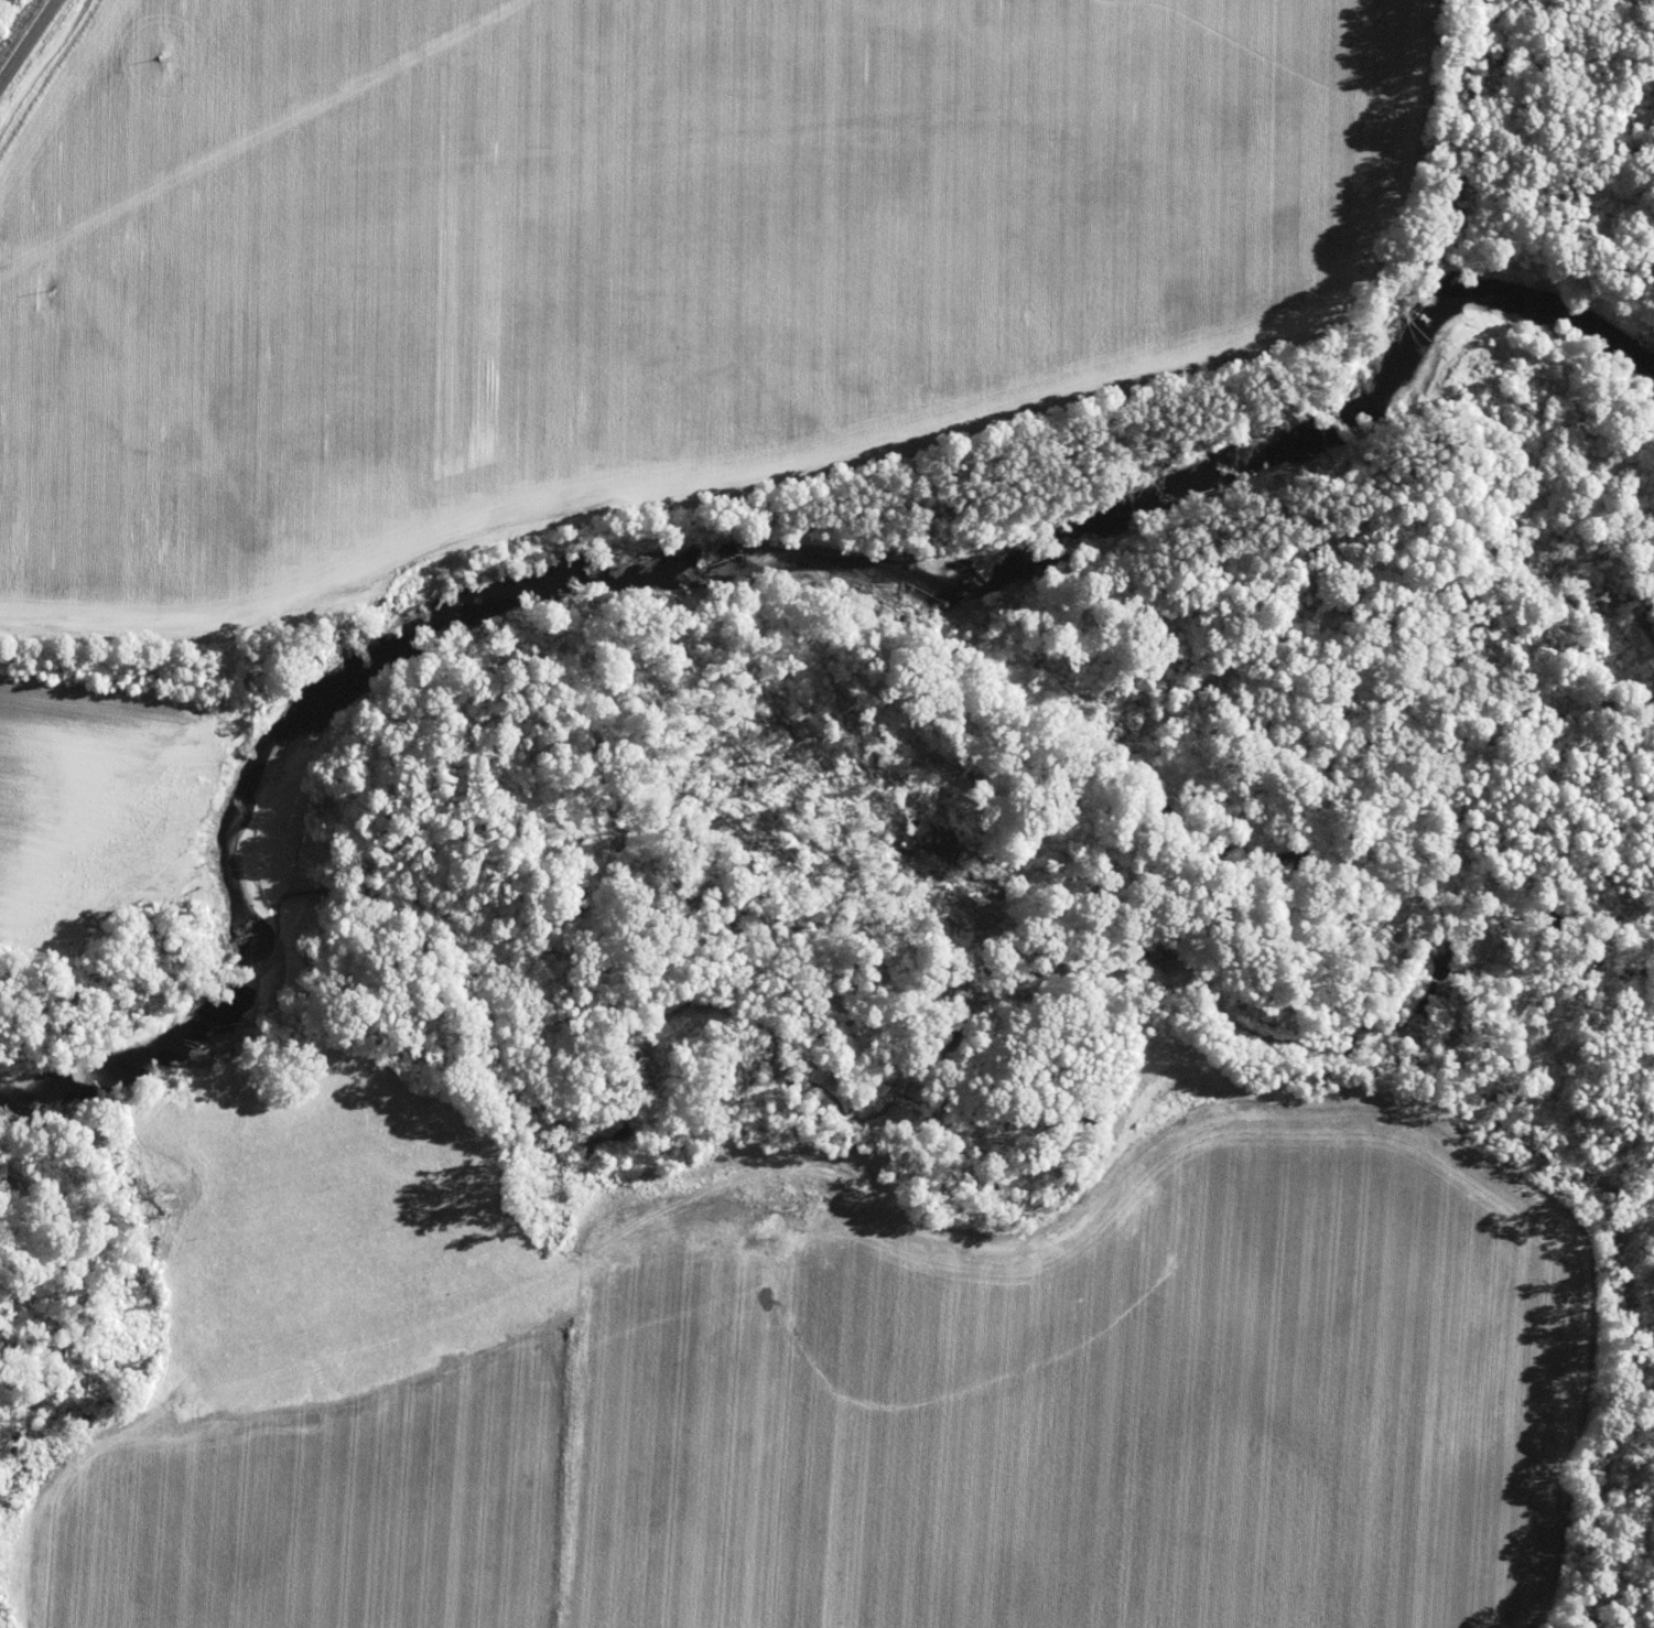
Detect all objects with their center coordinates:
road: (25, 36)

